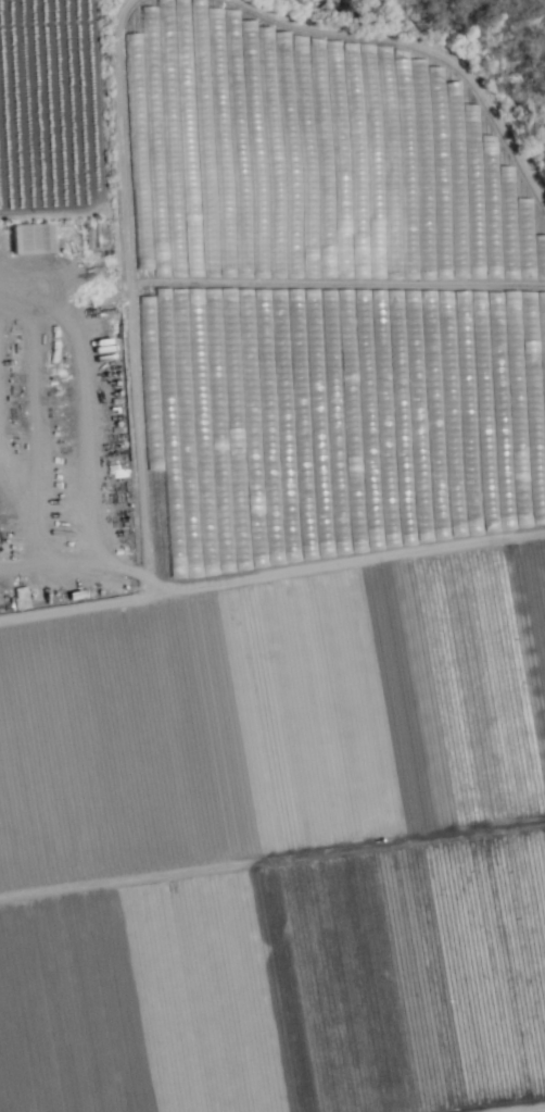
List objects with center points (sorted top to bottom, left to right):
road: (90, 423)
crop: (272, 555)
building: (232, 560)
building: (160, 563)
road: (519, 1108)

